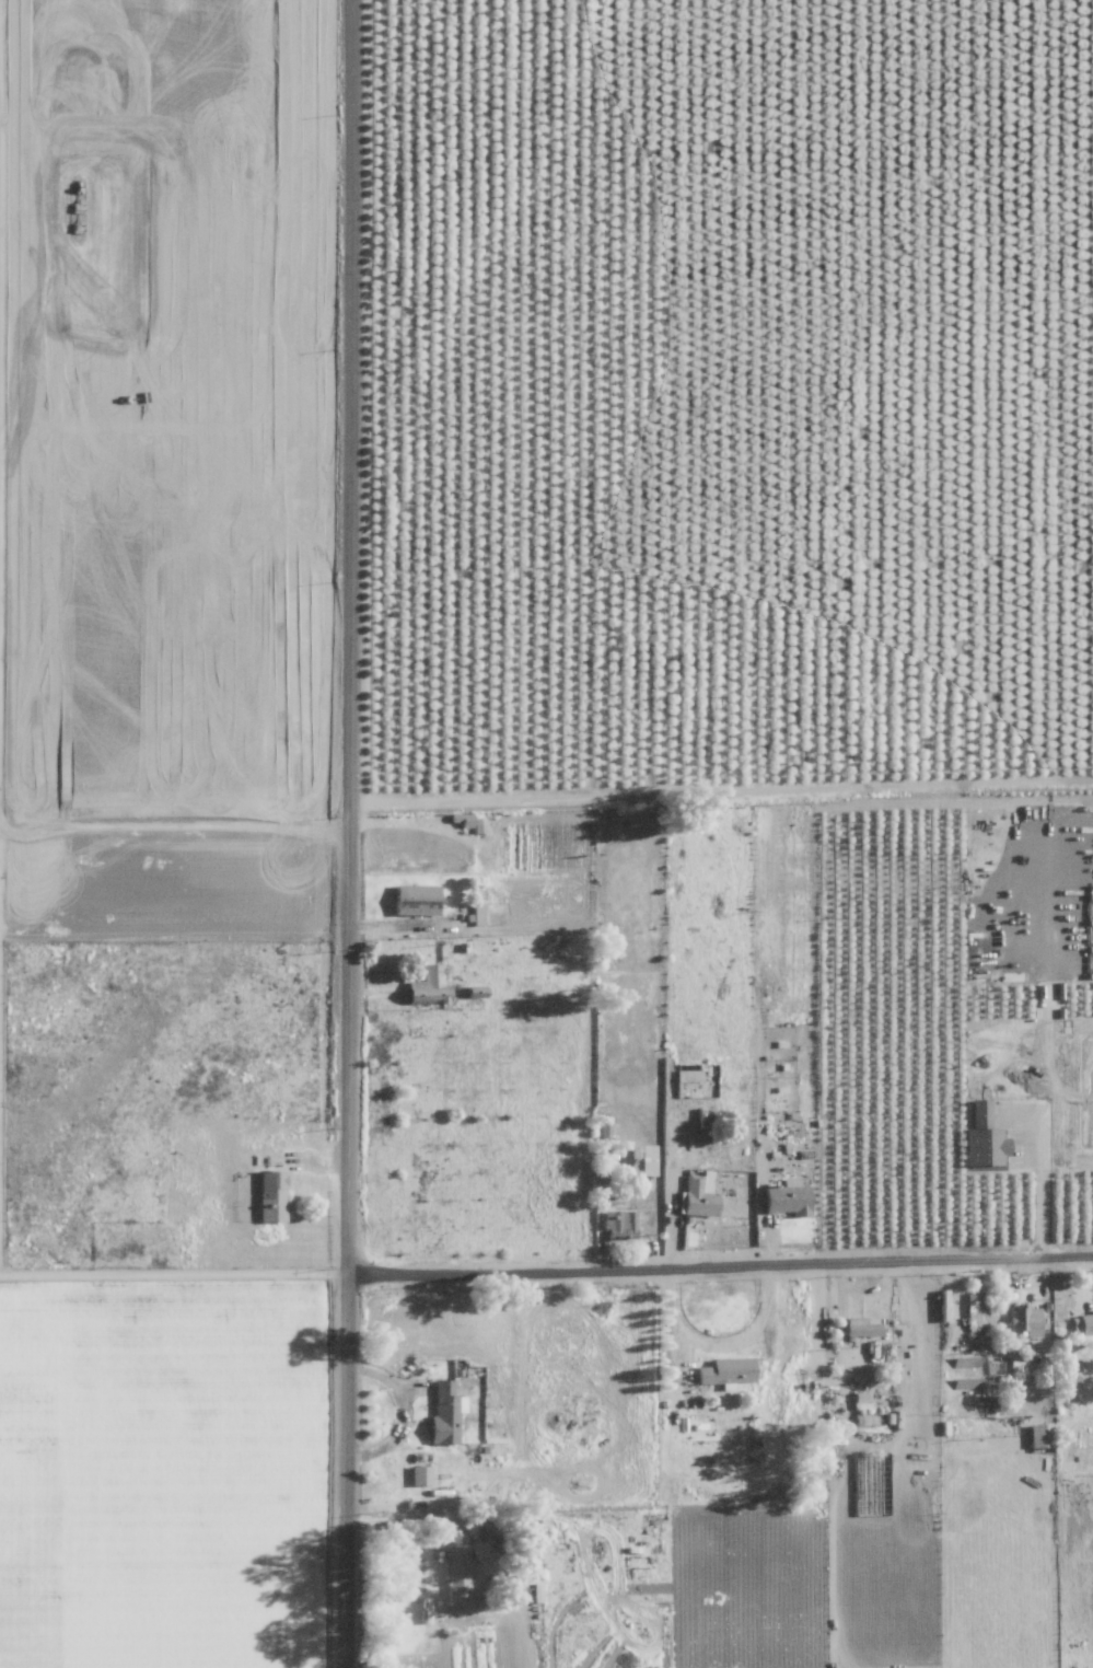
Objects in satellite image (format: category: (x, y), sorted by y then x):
road: (722, 783)
road: (350, 833)
building: (415, 900)
building: (428, 985)
road: (1047, 1097)
building: (978, 1111)
building: (984, 1147)
building: (700, 1195)
building: (271, 1196)
building: (787, 1197)
road: (721, 1267)
building: (973, 1312)
building: (1023, 1321)
road: (672, 1323)
building: (1085, 1323)
building: (859, 1328)
road: (745, 1342)
building: (726, 1371)
building: (860, 1400)
road: (397, 1411)
building: (445, 1413)
crop: (156, 1472)
building: (456, 1556)

